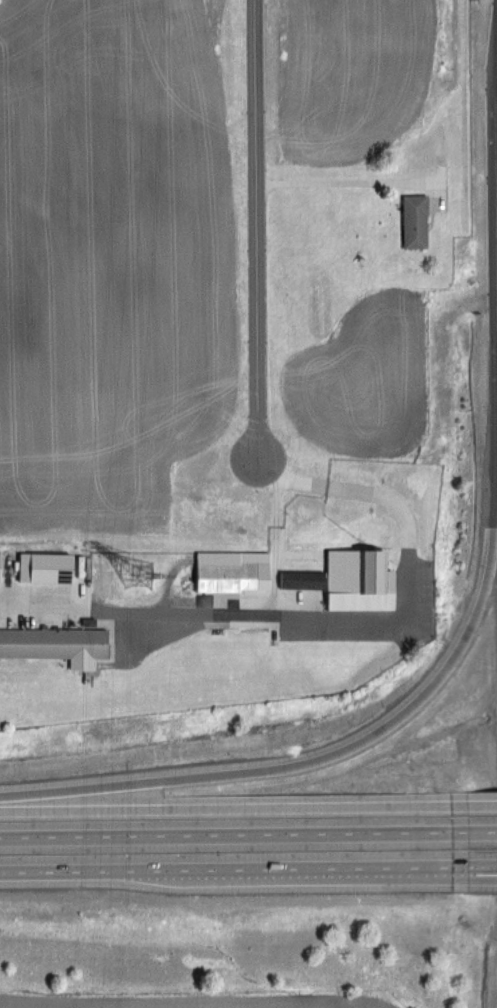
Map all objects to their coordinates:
road: (463, 115)
road: (339, 180)
building: (414, 221)
road: (254, 229)
crop: (110, 258)
road: (275, 546)
building: (44, 567)
building: (231, 570)
power tower: (140, 574)
building: (301, 578)
building: (358, 579)
road: (74, 607)
road: (403, 613)
building: (55, 643)
road: (345, 749)
road: (474, 806)
road: (225, 808)
road: (474, 832)
road: (226, 835)
road: (474, 870)
road: (225, 871)
road: (474, 872)

